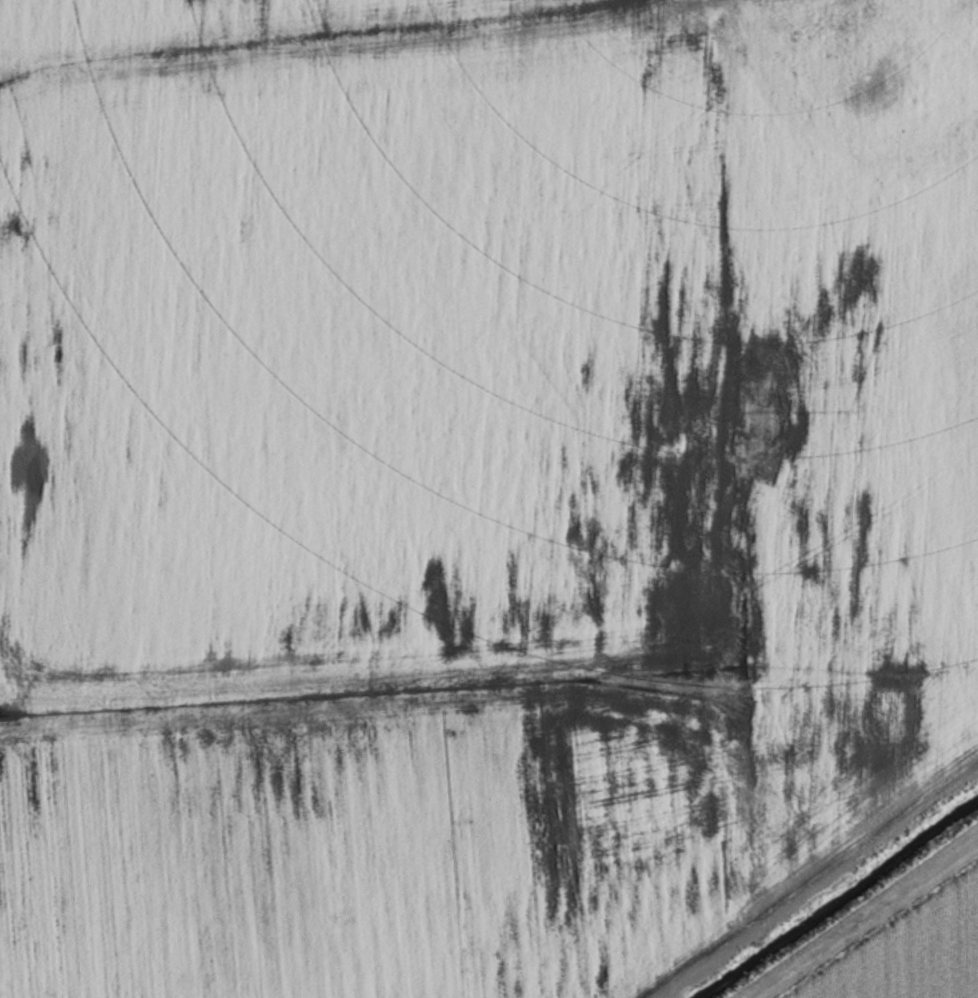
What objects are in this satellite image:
road: (633, 12)

